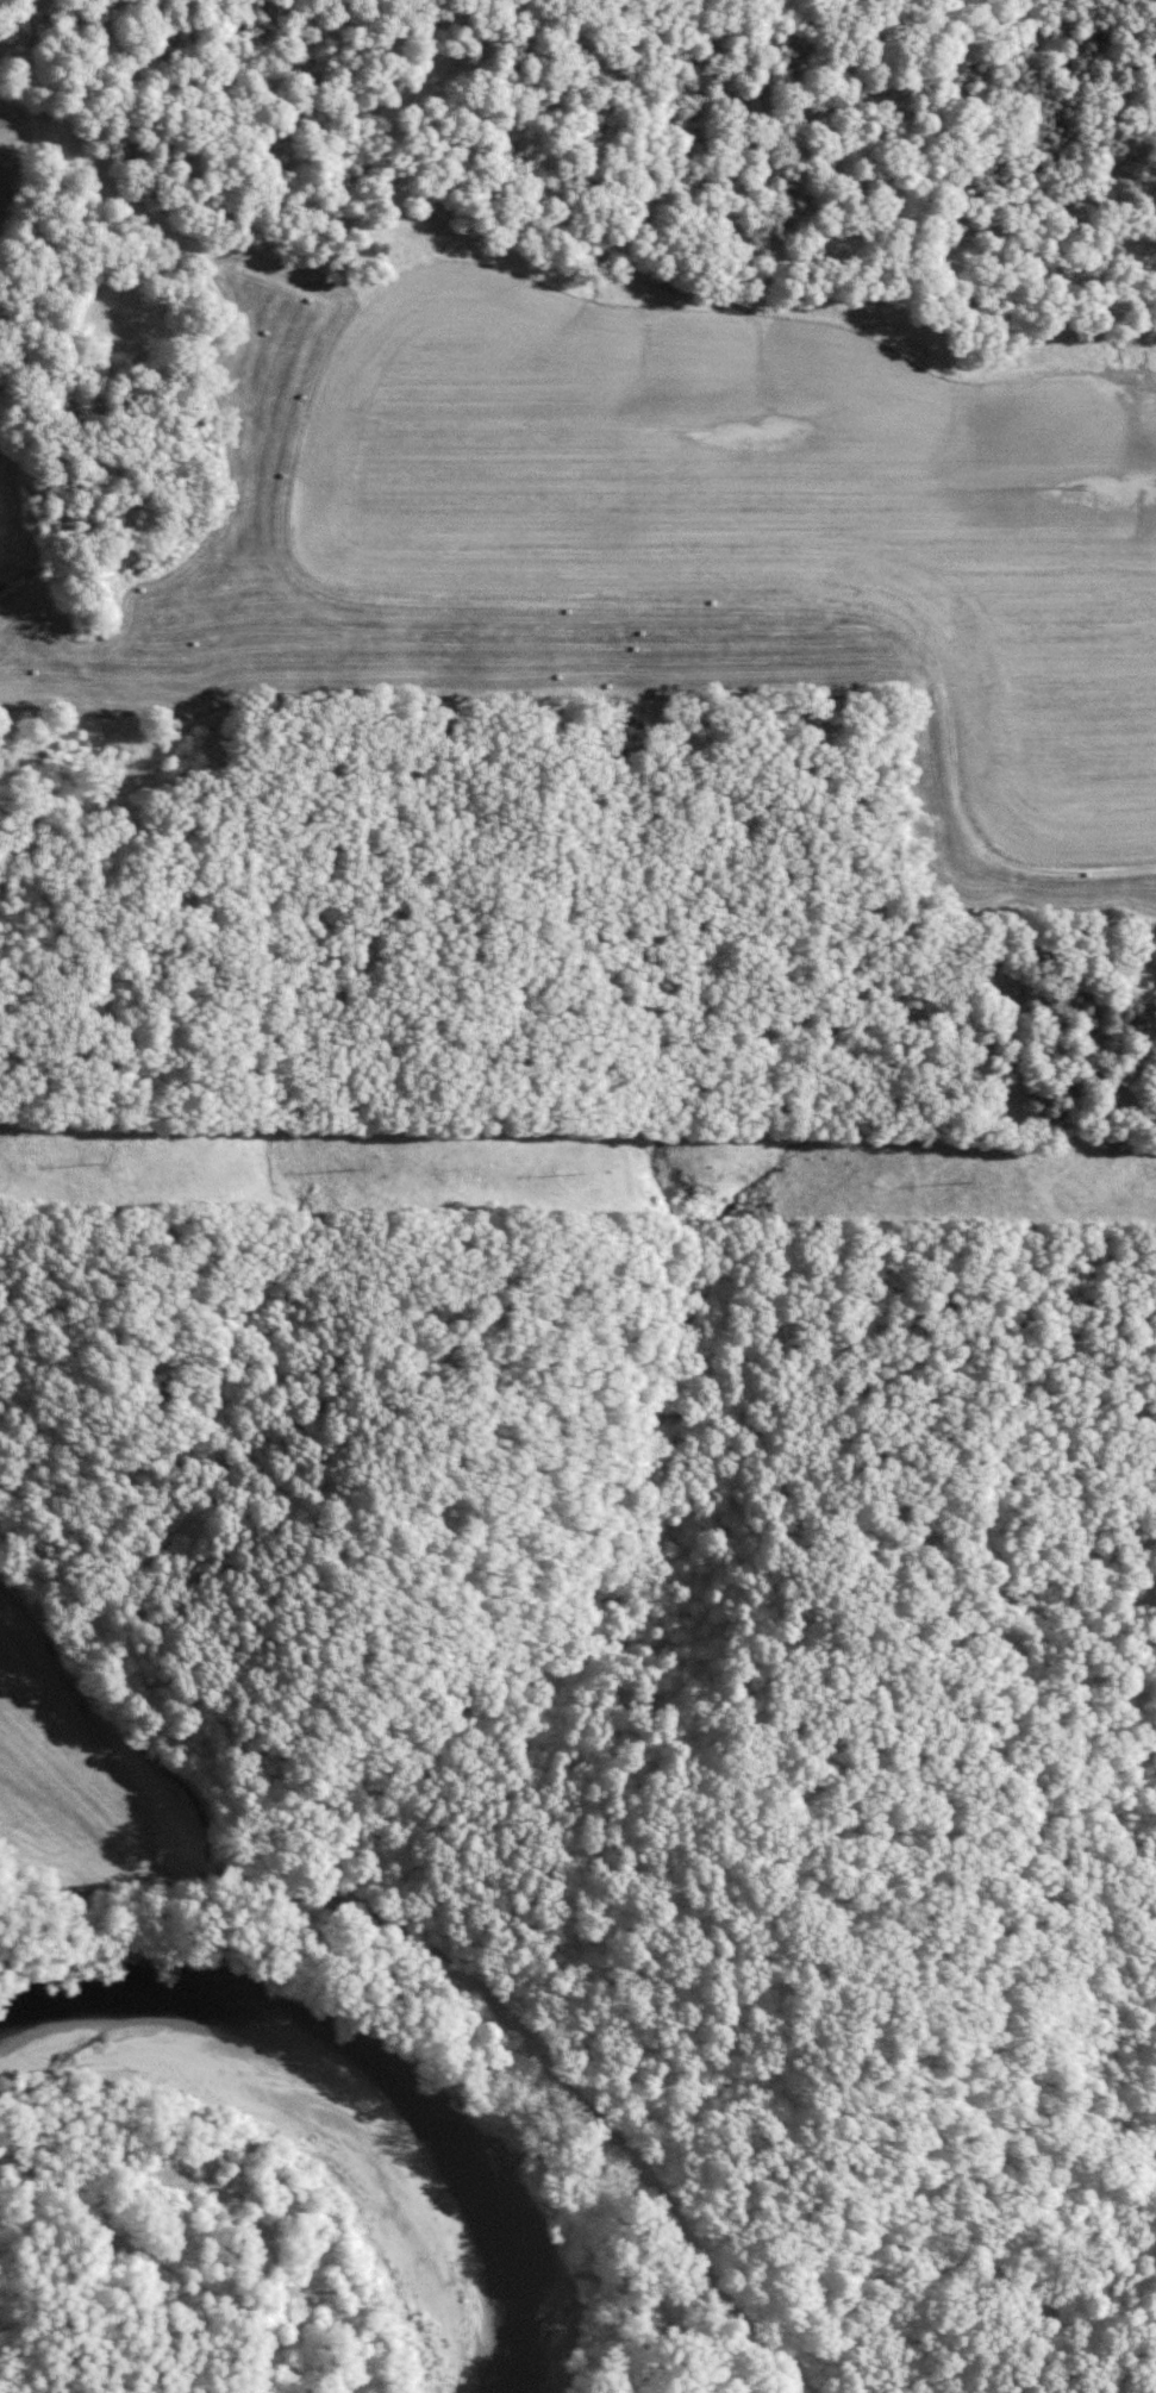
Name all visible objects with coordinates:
river: (358, 2049)

